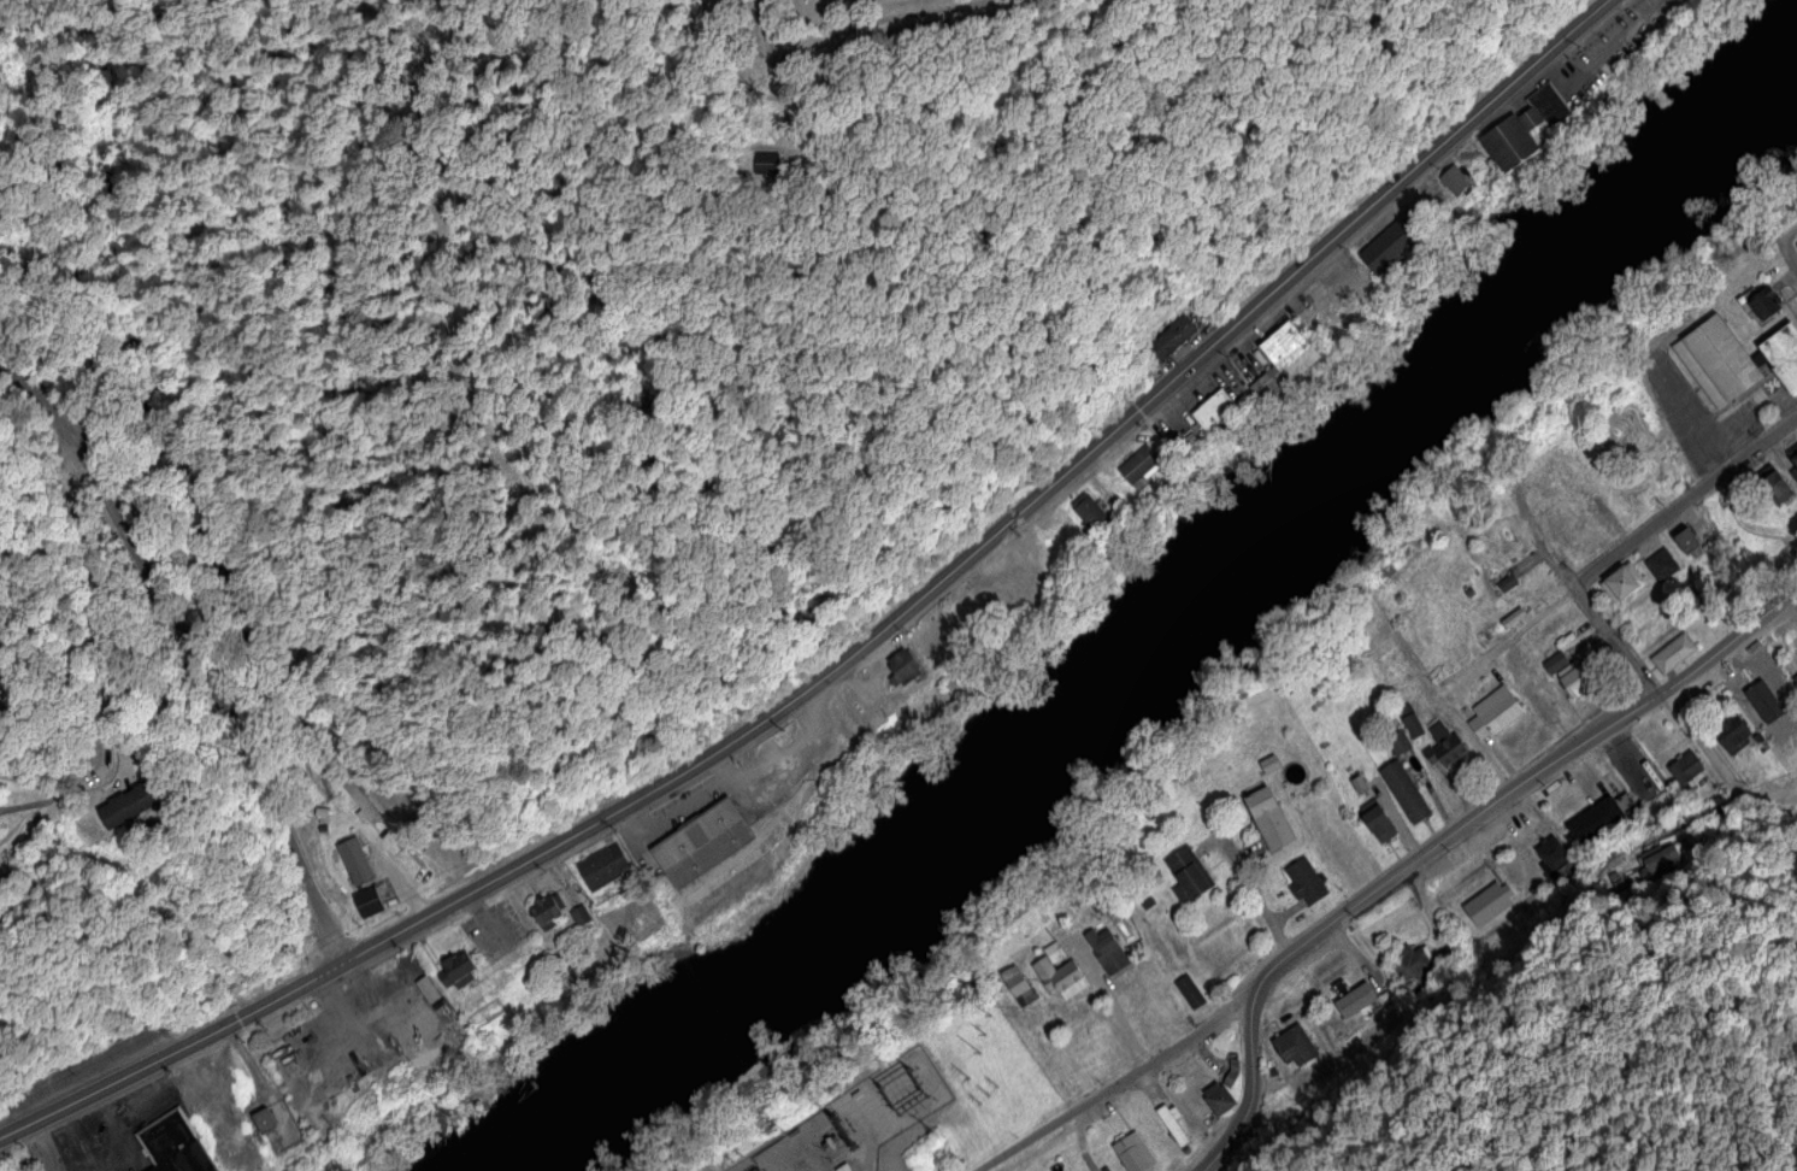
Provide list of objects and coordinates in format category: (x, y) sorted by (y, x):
road: (883, 20)
building: (1524, 131)
building: (765, 161)
building: (1455, 181)
road: (1790, 235)
building: (1394, 243)
road: (1790, 252)
building: (1763, 306)
building: (1169, 337)
building: (1783, 357)
building: (1283, 358)
building: (1718, 361)
building: (1214, 411)
building: (1189, 440)
building: (1792, 454)
building: (1139, 466)
building: (1769, 484)
road: (1684, 504)
building: (1089, 513)
building: (1687, 541)
building: (1661, 566)
building: (1506, 583)
building: (1621, 583)
building: (1011, 584)
road: (1579, 598)
river: (1180, 624)
road: (1520, 628)
road: (1727, 640)
road: (855, 642)
building: (1673, 652)
road: (183, 654)
building: (1555, 661)
building: (902, 667)
building: (1795, 677)
building: (1522, 678)
building: (1575, 681)
building: (1796, 685)
road: (94, 688)
building: (1773, 700)
building: (1544, 701)
building: (0, 705)
building: (1495, 717)
building: (1410, 722)
building: (1728, 731)
building: (1757, 739)
building: (1397, 742)
building: (1443, 746)
building: (1787, 751)
building: (1268, 764)
road: (1718, 764)
building: (1684, 767)
road: (42, 771)
building: (1404, 792)
building: (358, 800)
building: (129, 804)
building: (1268, 819)
building: (1593, 822)
building: (1378, 823)
road: (1447, 841)
building: (702, 843)
building: (1556, 855)
building: (354, 861)
building: (603, 867)
building: (1188, 872)
building: (1306, 881)
building: (366, 902)
building: (1487, 905)
building: (546, 912)
building: (579, 916)
building: (1054, 951)
building: (1106, 951)
building: (1413, 963)
building: (456, 972)
building: (1061, 978)
building: (1021, 991)
building: (1189, 991)
building: (1353, 999)
power tower: (982, 1043)
building: (1295, 1047)
building: (1230, 1072)
power tower: (912, 1088)
road: (1121, 1088)
power tower: (991, 1093)
road: (1250, 1094)
building: (1218, 1099)
building: (263, 1122)
power substation: (855, 1122)
building: (1171, 1123)
building: (173, 1147)
building: (1132, 1153)

